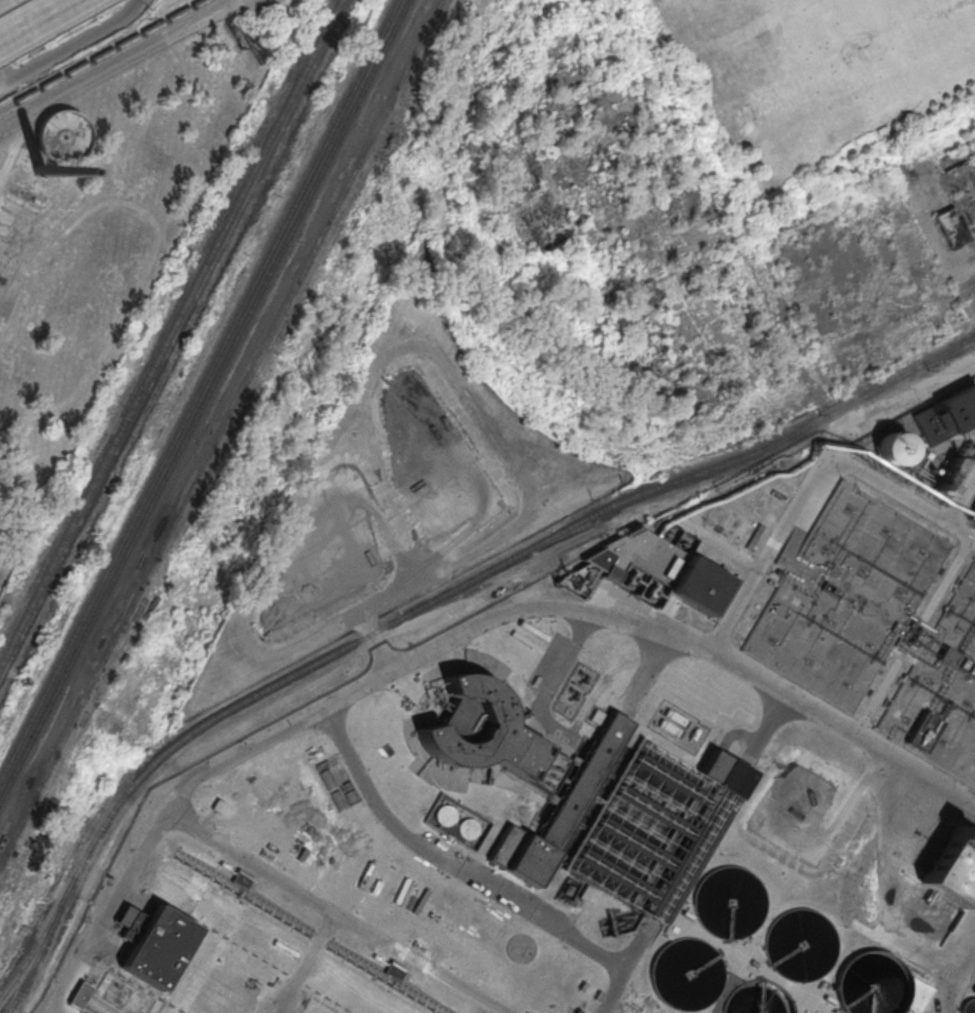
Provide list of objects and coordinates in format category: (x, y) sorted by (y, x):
road: (40, 22)
road: (72, 46)
railway: (101, 54)
road: (116, 65)
park: (848, 66)
road: (4, 73)
park: (812, 87)
building: (62, 134)
road: (18, 144)
building: (38, 169)
building: (952, 226)
railway: (170, 332)
road: (915, 388)
railway: (198, 389)
railway: (203, 399)
building: (946, 413)
railway: (219, 430)
building: (893, 447)
storage tank: (893, 447)
building: (945, 476)
building: (972, 510)
railway: (504, 561)
building: (657, 567)
building: (846, 596)
wastewater plant: (846, 596)
road: (372, 601)
road: (609, 615)
building: (522, 644)
building: (941, 693)
wastewater plant: (941, 693)
building: (672, 722)
wastewater plant: (563, 731)
building: (517, 770)
building: (219, 806)
road: (389, 819)
building: (459, 824)
wastewater plant: (655, 829)
road: (235, 857)
building: (952, 866)
building: (242, 879)
railway: (67, 889)
building: (728, 901)
storage tank: (728, 901)
railway: (45, 929)
building: (800, 945)
storage tank: (800, 945)
building: (154, 947)
railway: (36, 957)
building: (394, 970)
building: (685, 974)
storage tank: (685, 974)
building: (870, 984)
storage tank: (870, 984)
building: (80, 994)
building: (757, 998)
storage tank: (757, 998)
building: (970, 1002)
building: (902, 1009)
wastewater plant: (906, 1010)

